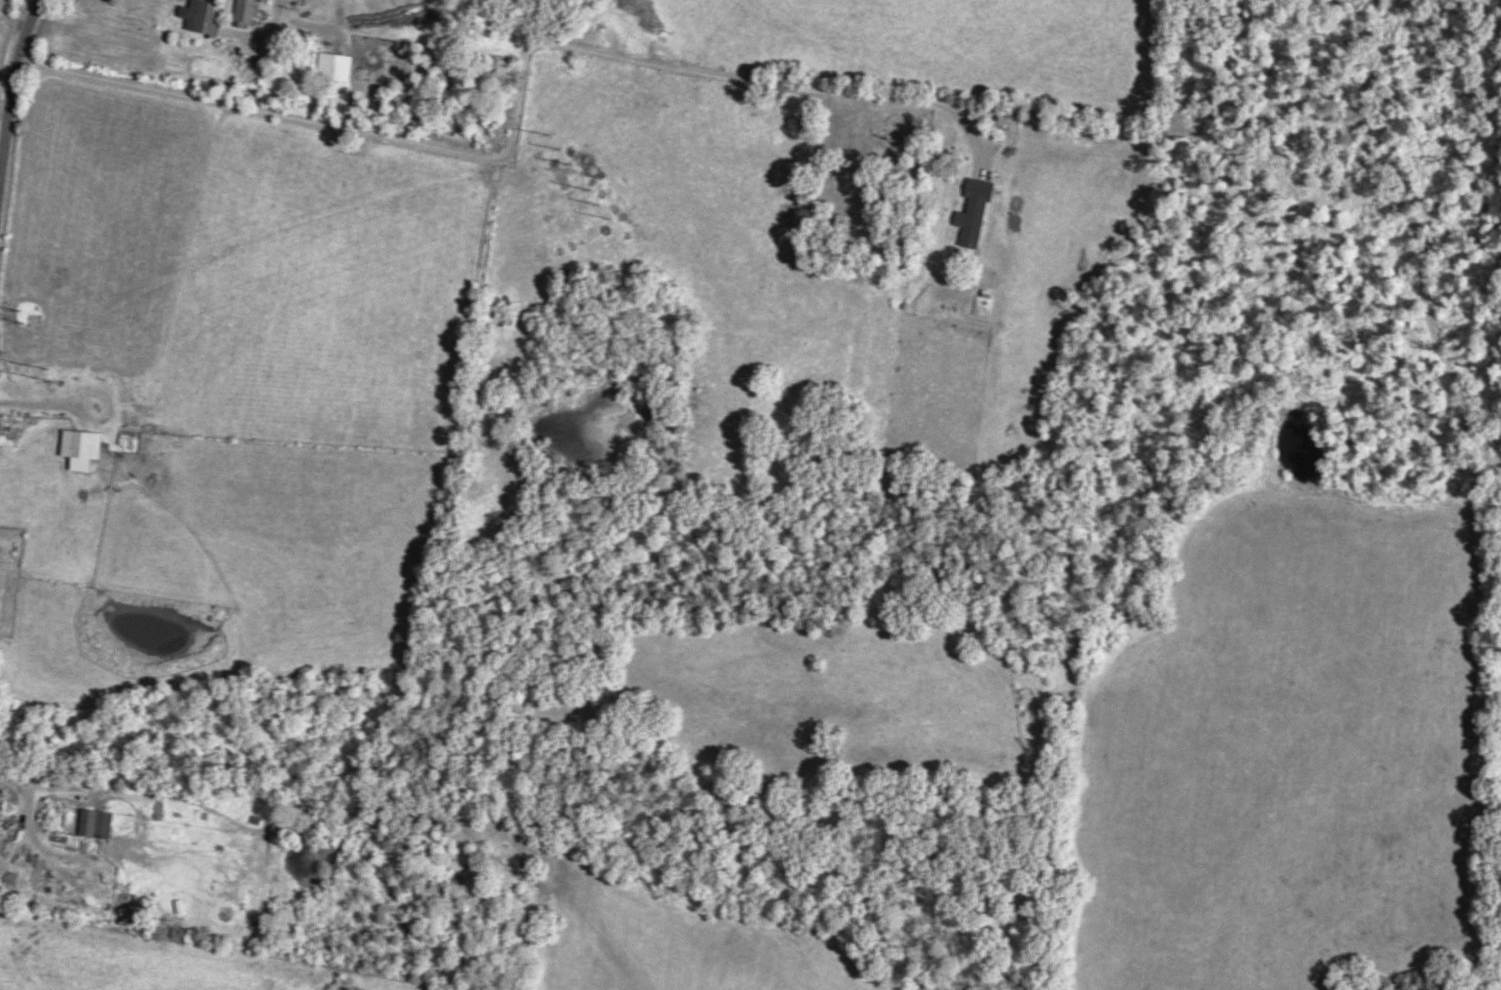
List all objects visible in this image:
building: (249, 11)
building: (201, 15)
road: (11, 120)
power tower: (560, 146)
park: (864, 199)
power tower: (598, 202)
power tower: (20, 315)
power tower: (45, 375)
building: (83, 442)
road: (23, 786)
building: (97, 822)

